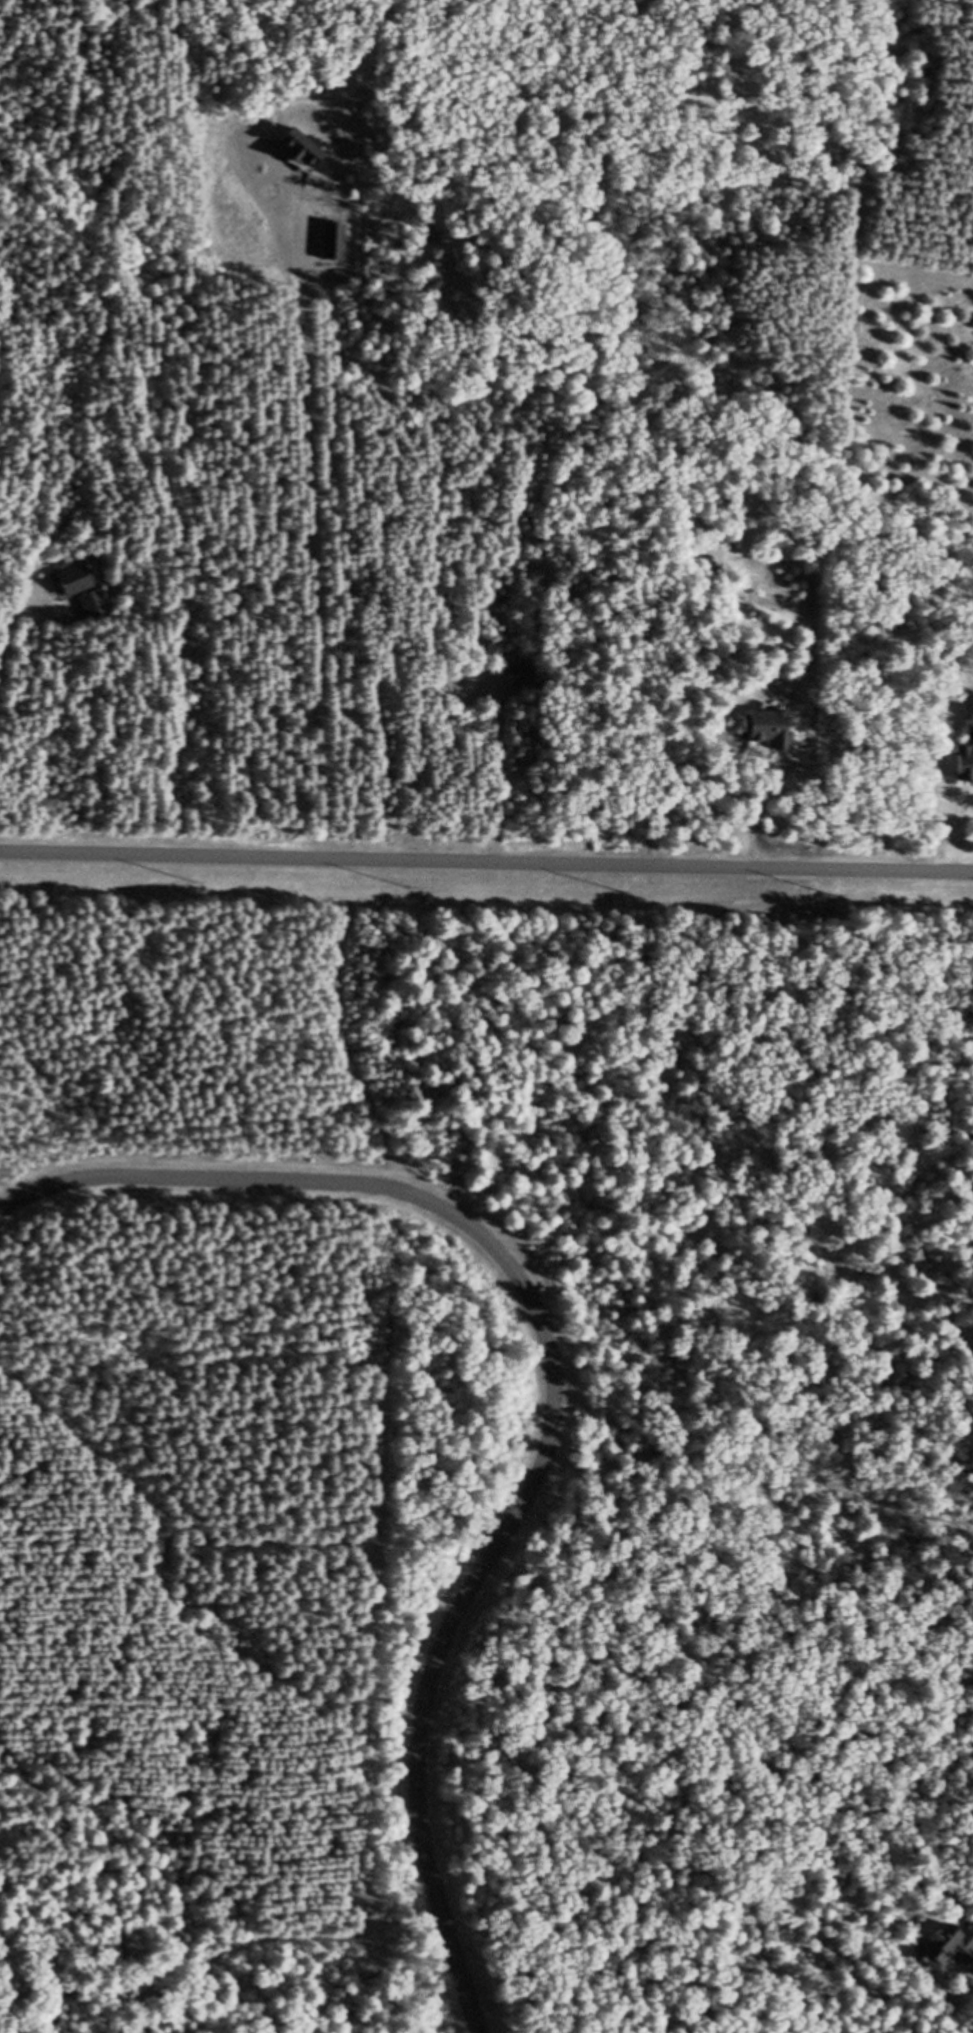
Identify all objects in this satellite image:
building: (74, 589)
building: (96, 614)
building: (522, 688)
building: (469, 689)
building: (769, 737)
building: (964, 772)
road: (755, 808)
road: (486, 856)
road: (562, 1394)
building: (946, 1956)

